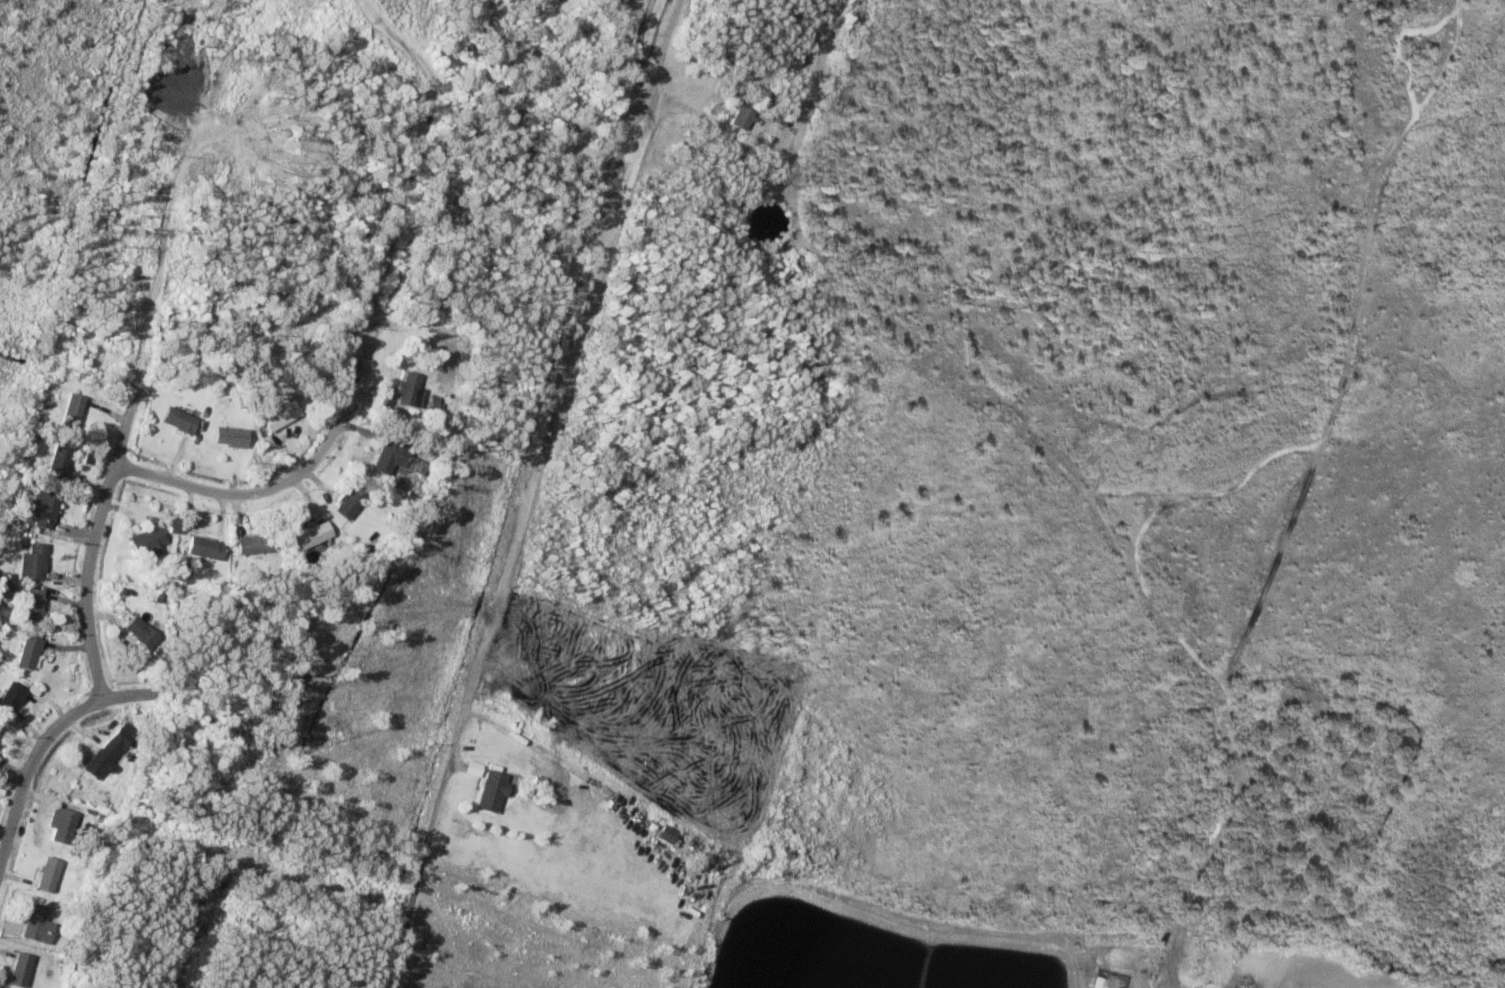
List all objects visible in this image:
building: (739, 120)
building: (407, 390)
road: (345, 391)
building: (72, 412)
building: (278, 417)
building: (178, 421)
building: (229, 437)
building: (395, 460)
building: (57, 463)
building: (348, 502)
building: (44, 512)
road: (96, 523)
road: (517, 535)
building: (312, 536)
building: (145, 545)
building: (252, 545)
building: (203, 549)
building: (32, 562)
building: (32, 608)
building: (139, 634)
building: (28, 654)
building: (10, 699)
road: (48, 737)
building: (108, 751)
building: (490, 793)
building: (62, 827)
building: (667, 836)
building: (46, 875)
road: (263, 922)
building: (36, 925)
building: (19, 970)

